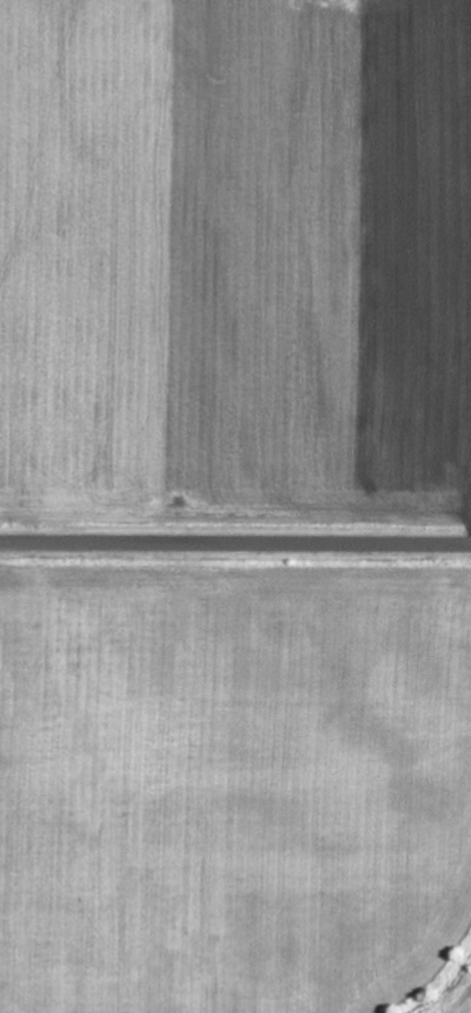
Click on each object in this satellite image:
road: (235, 540)

